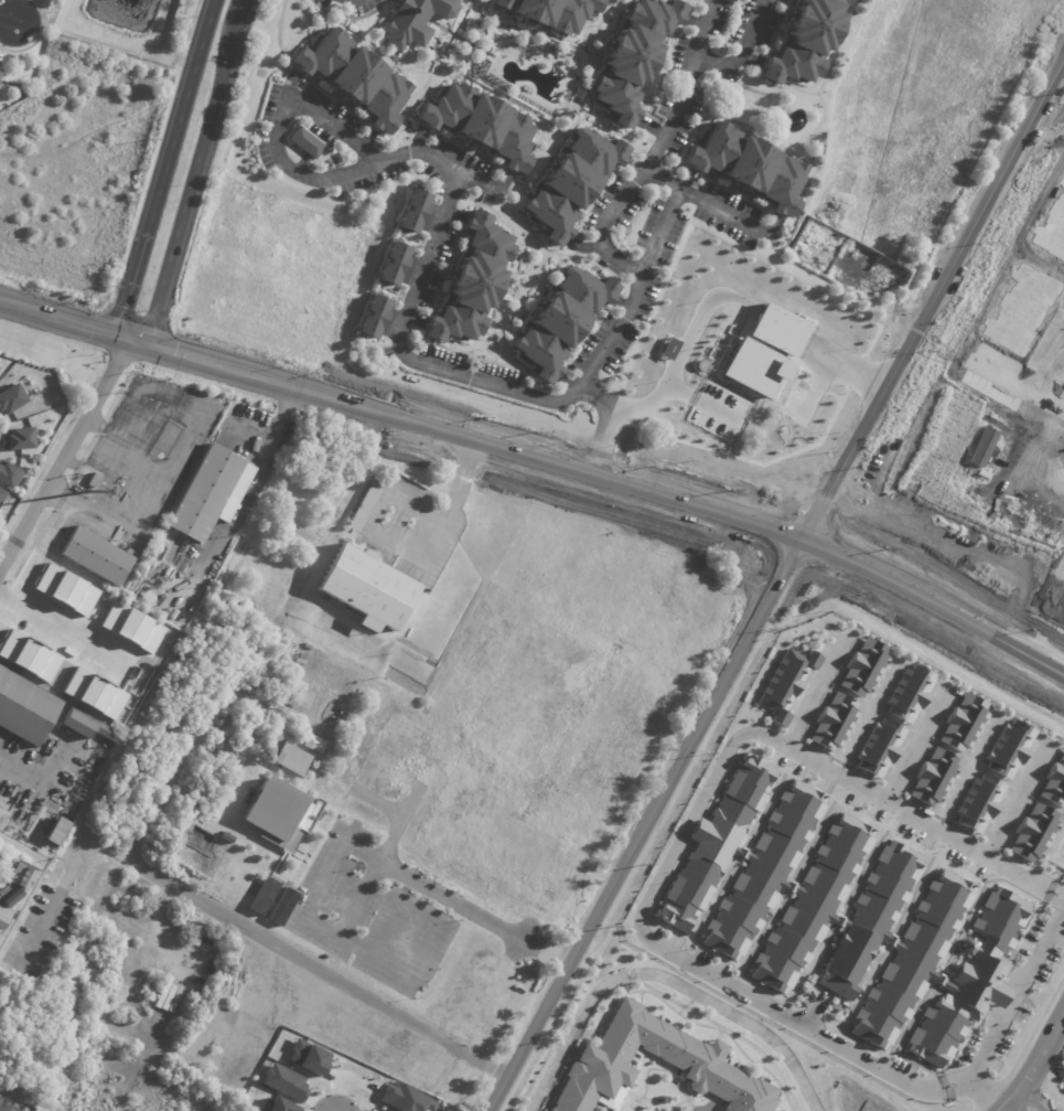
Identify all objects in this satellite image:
road: (247, 11)
building: (549, 12)
road: (8, 17)
building: (412, 19)
building: (804, 39)
road: (742, 50)
building: (632, 57)
road: (200, 60)
building: (353, 76)
building: (479, 126)
building: (304, 142)
road: (653, 150)
building: (745, 164)
road: (480, 181)
building: (570, 184)
road: (195, 185)
road: (717, 206)
building: (413, 210)
road: (667, 212)
road: (146, 228)
road: (431, 239)
building: (391, 264)
building: (471, 279)
road: (24, 309)
building: (372, 316)
building: (558, 320)
road: (88, 329)
traffic signals: (129, 341)
building: (667, 349)
building: (763, 351)
road: (175, 354)
road: (680, 354)
road: (840, 366)
road: (1043, 377)
road: (588, 388)
road: (816, 389)
road: (698, 396)
building: (10, 398)
parking lot: (796, 402)
parking lot: (719, 410)
road: (602, 430)
building: (15, 438)
road: (65, 455)
building: (6, 474)
building: (93, 480)
road: (655, 493)
building: (0, 494)
building: (209, 494)
road: (247, 495)
road: (131, 499)
building: (364, 506)
building: (96, 556)
road: (406, 556)
building: (213, 563)
building: (366, 588)
road: (775, 588)
road: (1044, 620)
building: (861, 667)
building: (784, 684)
road: (813, 692)
building: (909, 693)
building: (24, 709)
building: (832, 720)
building: (964, 723)
building: (83, 726)
building: (313, 744)
road: (913, 746)
building: (880, 748)
building: (1008, 749)
building: (291, 760)
building: (934, 778)
building: (1054, 783)
road: (1012, 801)
building: (984, 805)
building: (280, 815)
building: (51, 831)
building: (1030, 833)
building: (712, 848)
road: (363, 850)
road: (671, 852)
building: (763, 868)
building: (13, 890)
building: (261, 896)
building: (810, 901)
building: (281, 907)
building: (868, 922)
road: (240, 928)
building: (967, 946)
building: (911, 958)
building: (1, 978)
building: (974, 979)
road: (662, 980)
road: (1014, 990)
building: (304, 1057)
building: (658, 1070)
road: (1033, 1071)
building: (281, 1081)
road: (1031, 1090)
building: (404, 1099)
building: (276, 1105)
building: (6, 1107)

